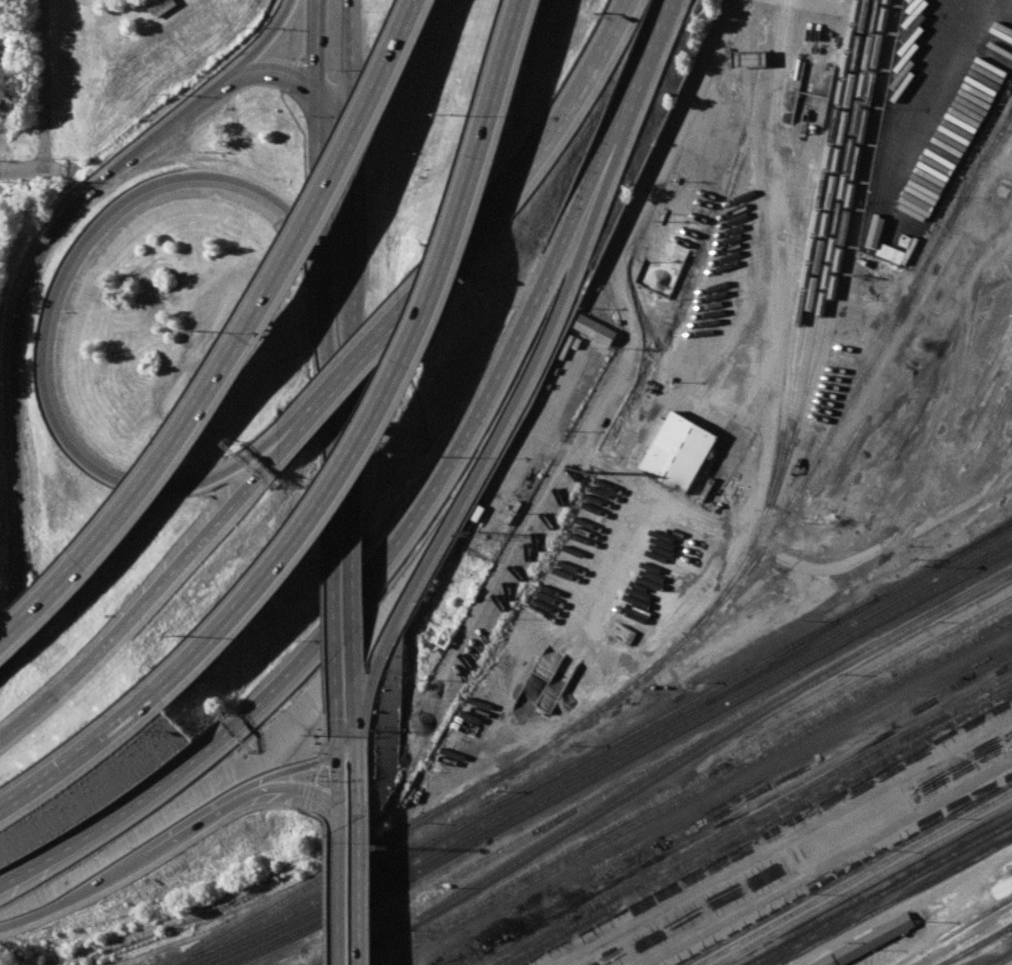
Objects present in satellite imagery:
building: (160, 6)
road: (302, 31)
road: (321, 43)
road: (350, 55)
building: (748, 59)
park: (132, 65)
road: (278, 75)
road: (289, 75)
road: (43, 82)
road: (581, 87)
road: (336, 98)
road: (629, 100)
railway: (1008, 117)
road: (302, 148)
road: (21, 169)
road: (324, 183)
road: (283, 213)
railway: (817, 217)
railway: (838, 217)
road: (632, 225)
road: (1005, 244)
railway: (820, 249)
road: (23, 285)
road: (50, 294)
road: (780, 298)
road: (351, 307)
road: (410, 307)
building: (594, 329)
railway: (825, 330)
road: (243, 340)
road: (313, 372)
road: (393, 387)
road: (330, 401)
road: (280, 452)
building: (680, 452)
road: (481, 463)
railway: (975, 543)
road: (796, 563)
road: (355, 591)
road: (354, 596)
road: (141, 607)
road: (336, 612)
road: (324, 625)
railway: (687, 634)
railway: (792, 651)
railway: (876, 673)
road: (359, 699)
road: (326, 733)
railway: (596, 752)
railway: (608, 756)
road: (72, 759)
road: (323, 760)
railway: (621, 760)
road: (320, 761)
road: (339, 769)
railway: (670, 769)
railway: (716, 770)
road: (360, 772)
road: (317, 775)
road: (309, 788)
railway: (694, 793)
road: (311, 795)
road: (204, 818)
road: (323, 819)
railway: (745, 820)
railway: (755, 825)
railway: (973, 825)
railway: (856, 879)
railway: (874, 889)
railway: (882, 893)
road: (362, 895)
road: (71, 898)
road: (343, 901)
road: (329, 902)
railway: (896, 903)
railway: (825, 905)
railway: (958, 932)
building: (874, 938)
railway: (978, 946)
railway: (1005, 961)

